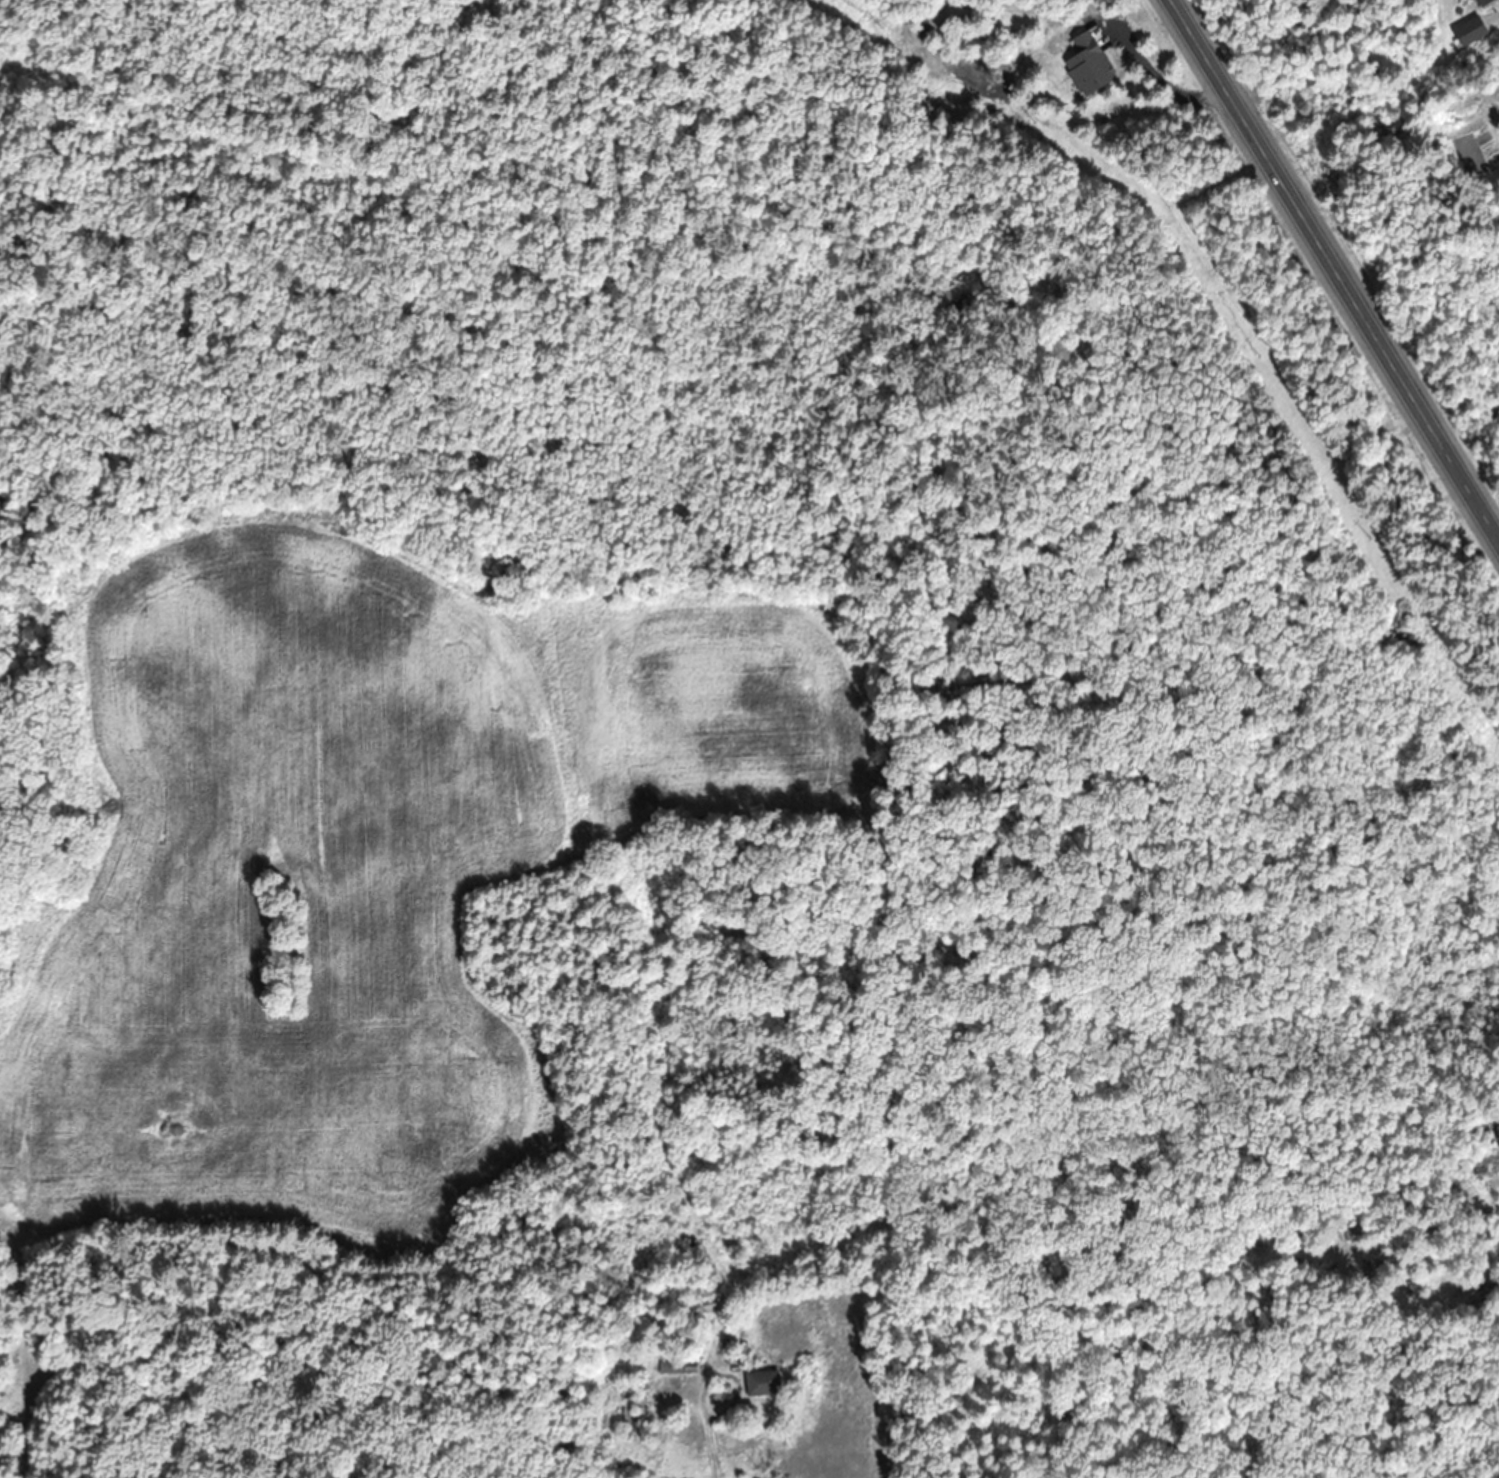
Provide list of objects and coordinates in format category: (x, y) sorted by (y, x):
building: (1483, 2)
building: (1470, 30)
road: (1335, 272)
building: (1498, 1130)
building: (707, 1303)
building: (679, 1365)
building: (763, 1381)

